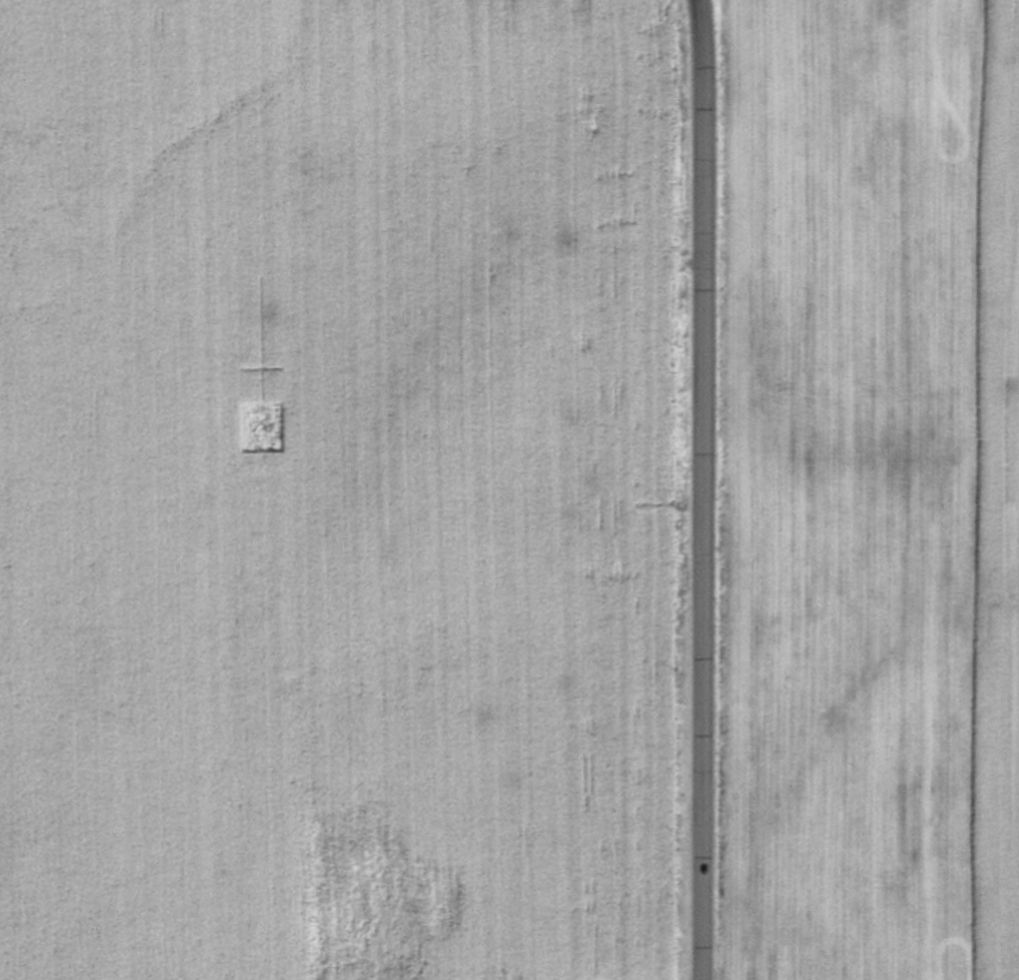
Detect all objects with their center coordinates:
road: (704, 489)

